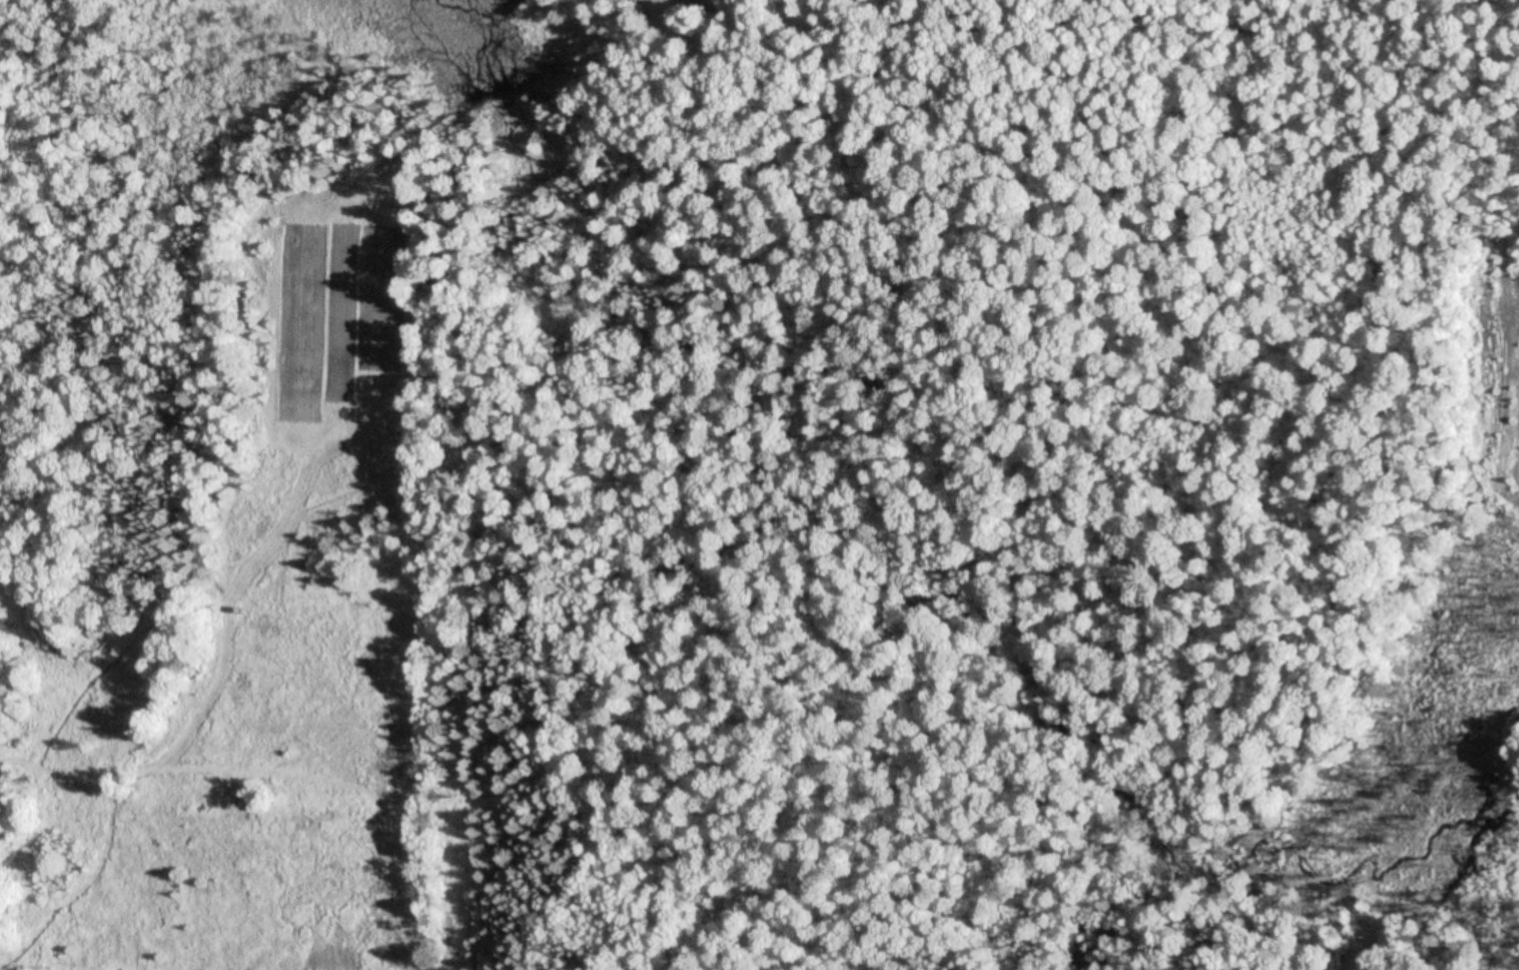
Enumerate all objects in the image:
building: (369, 959)

